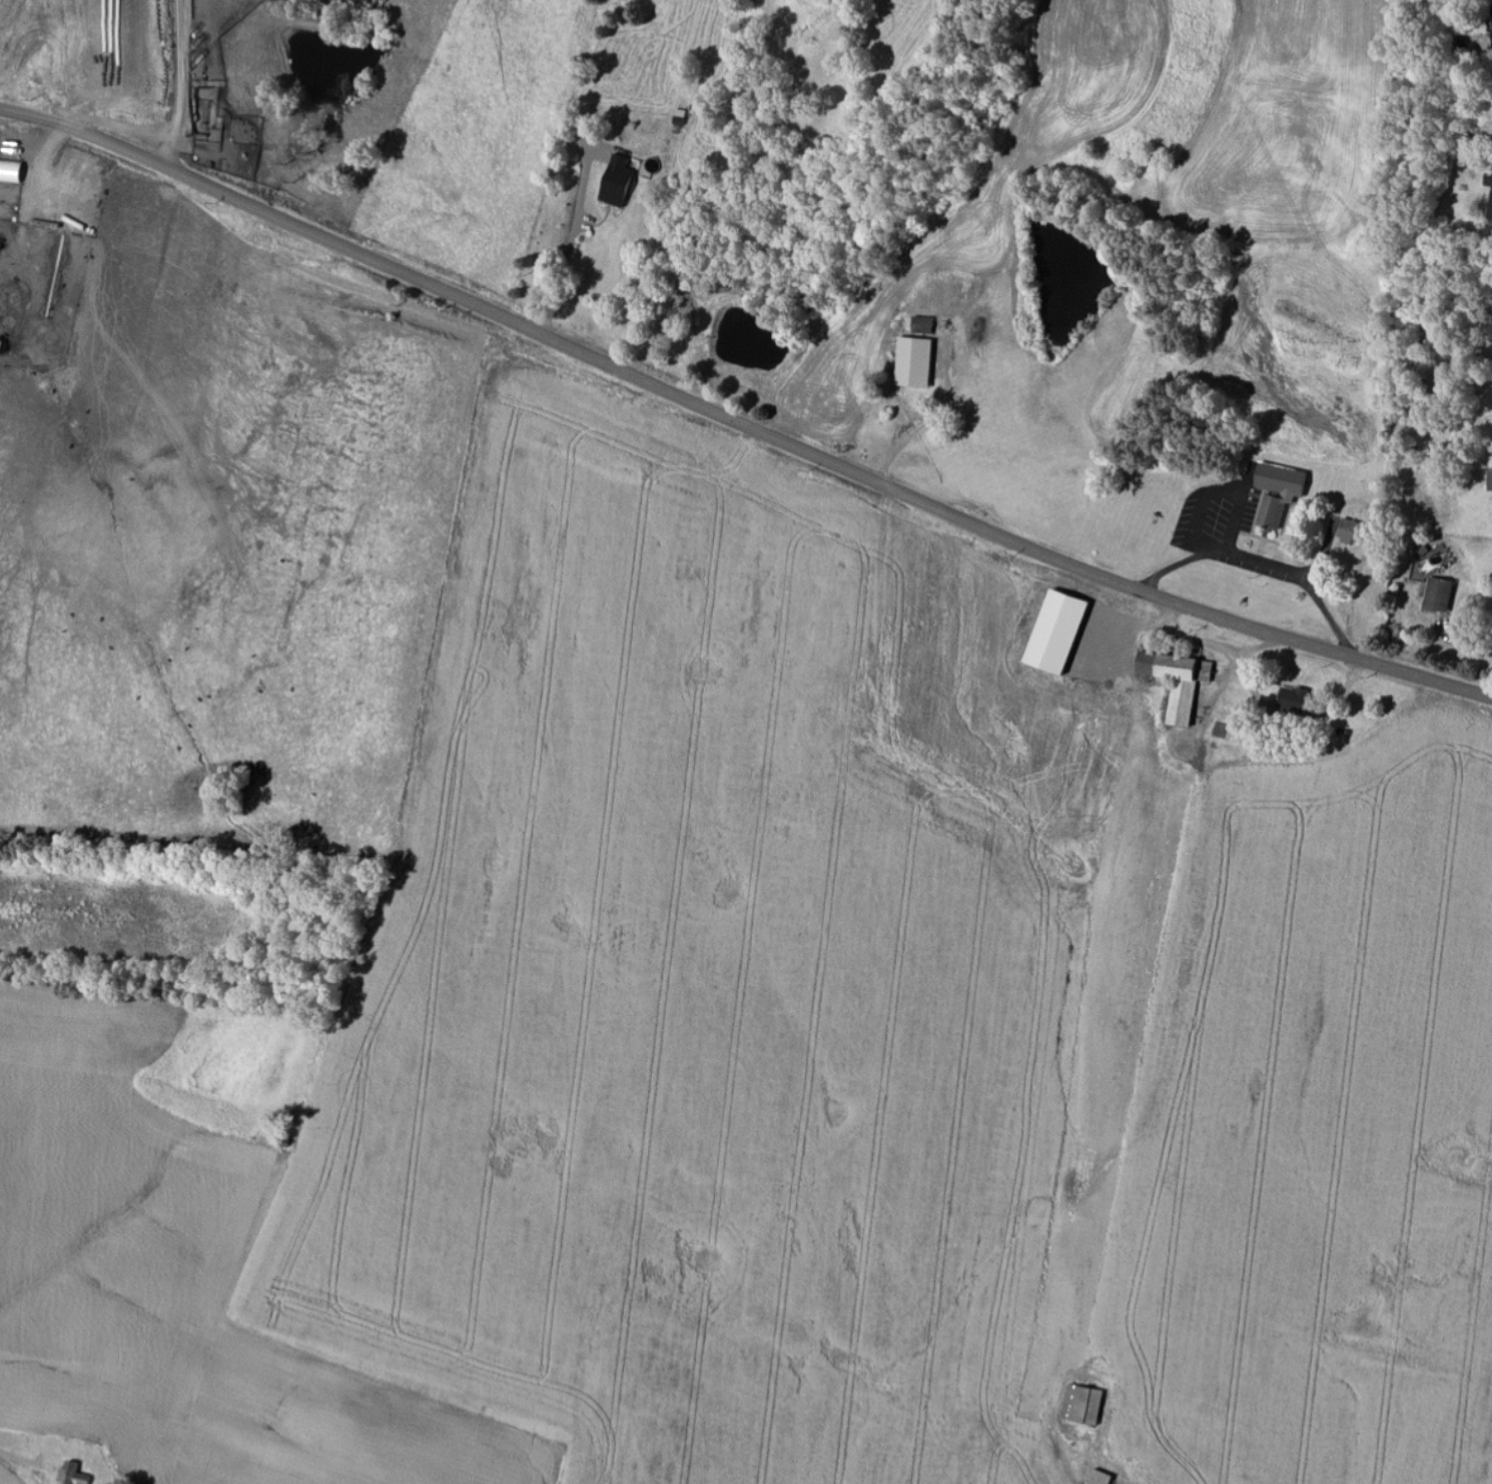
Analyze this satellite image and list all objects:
road: (186, 85)
building: (14, 171)
building: (623, 183)
building: (1491, 186)
road: (738, 422)
building: (1488, 479)
building: (1272, 494)
building: (1344, 531)
building: (1436, 594)
building: (1051, 632)
building: (1174, 681)
building: (1289, 700)
building: (1079, 1406)
building: (78, 1474)
building: (1096, 1478)
road: (14, 1480)

